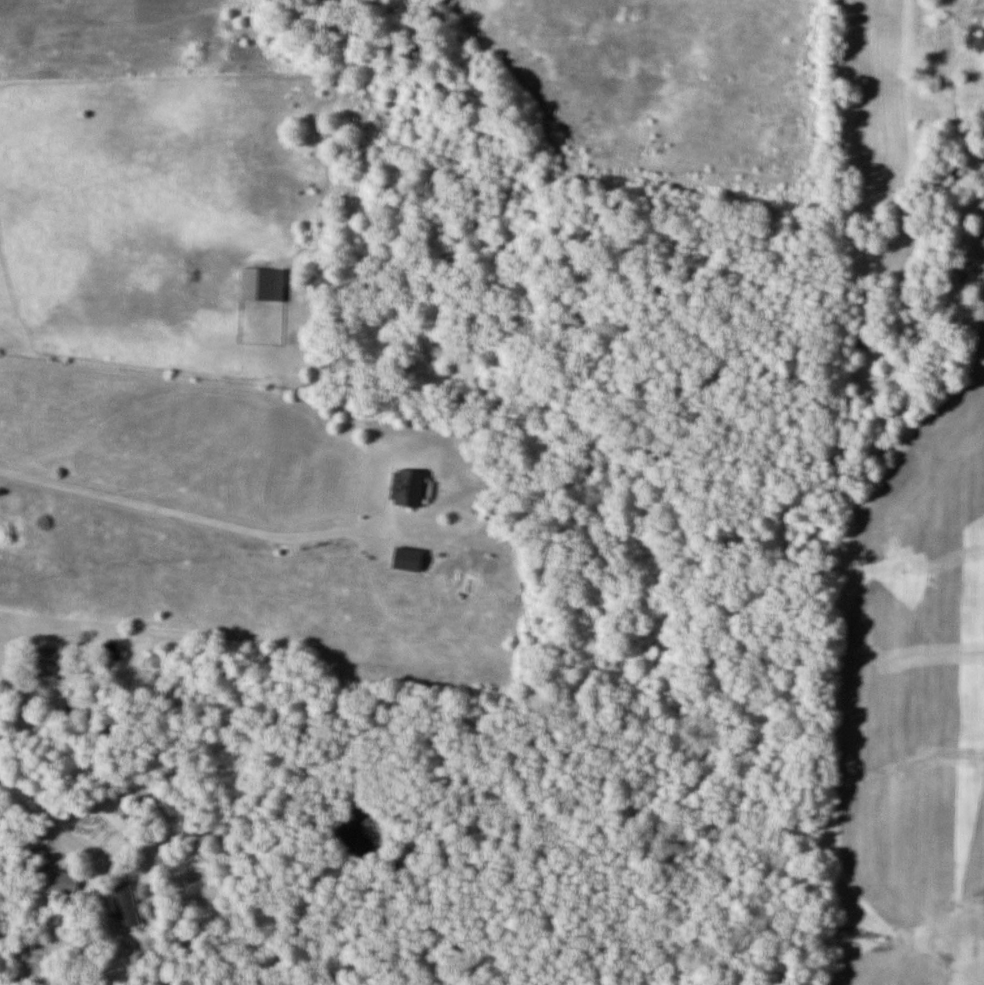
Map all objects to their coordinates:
building: (263, 282)
building: (410, 486)
road: (186, 512)
building: (52, 661)
road: (45, 814)
building: (62, 880)
building: (126, 903)

